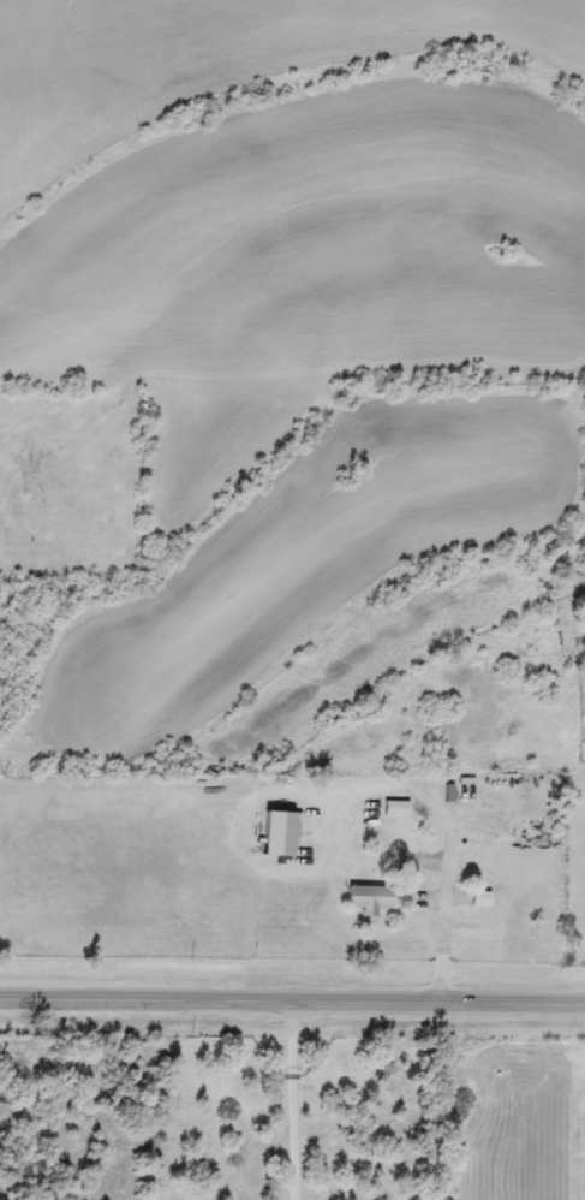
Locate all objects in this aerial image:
road: (446, 819)
building: (275, 832)
building: (368, 898)
building: (478, 898)
road: (292, 994)
road: (294, 1098)

